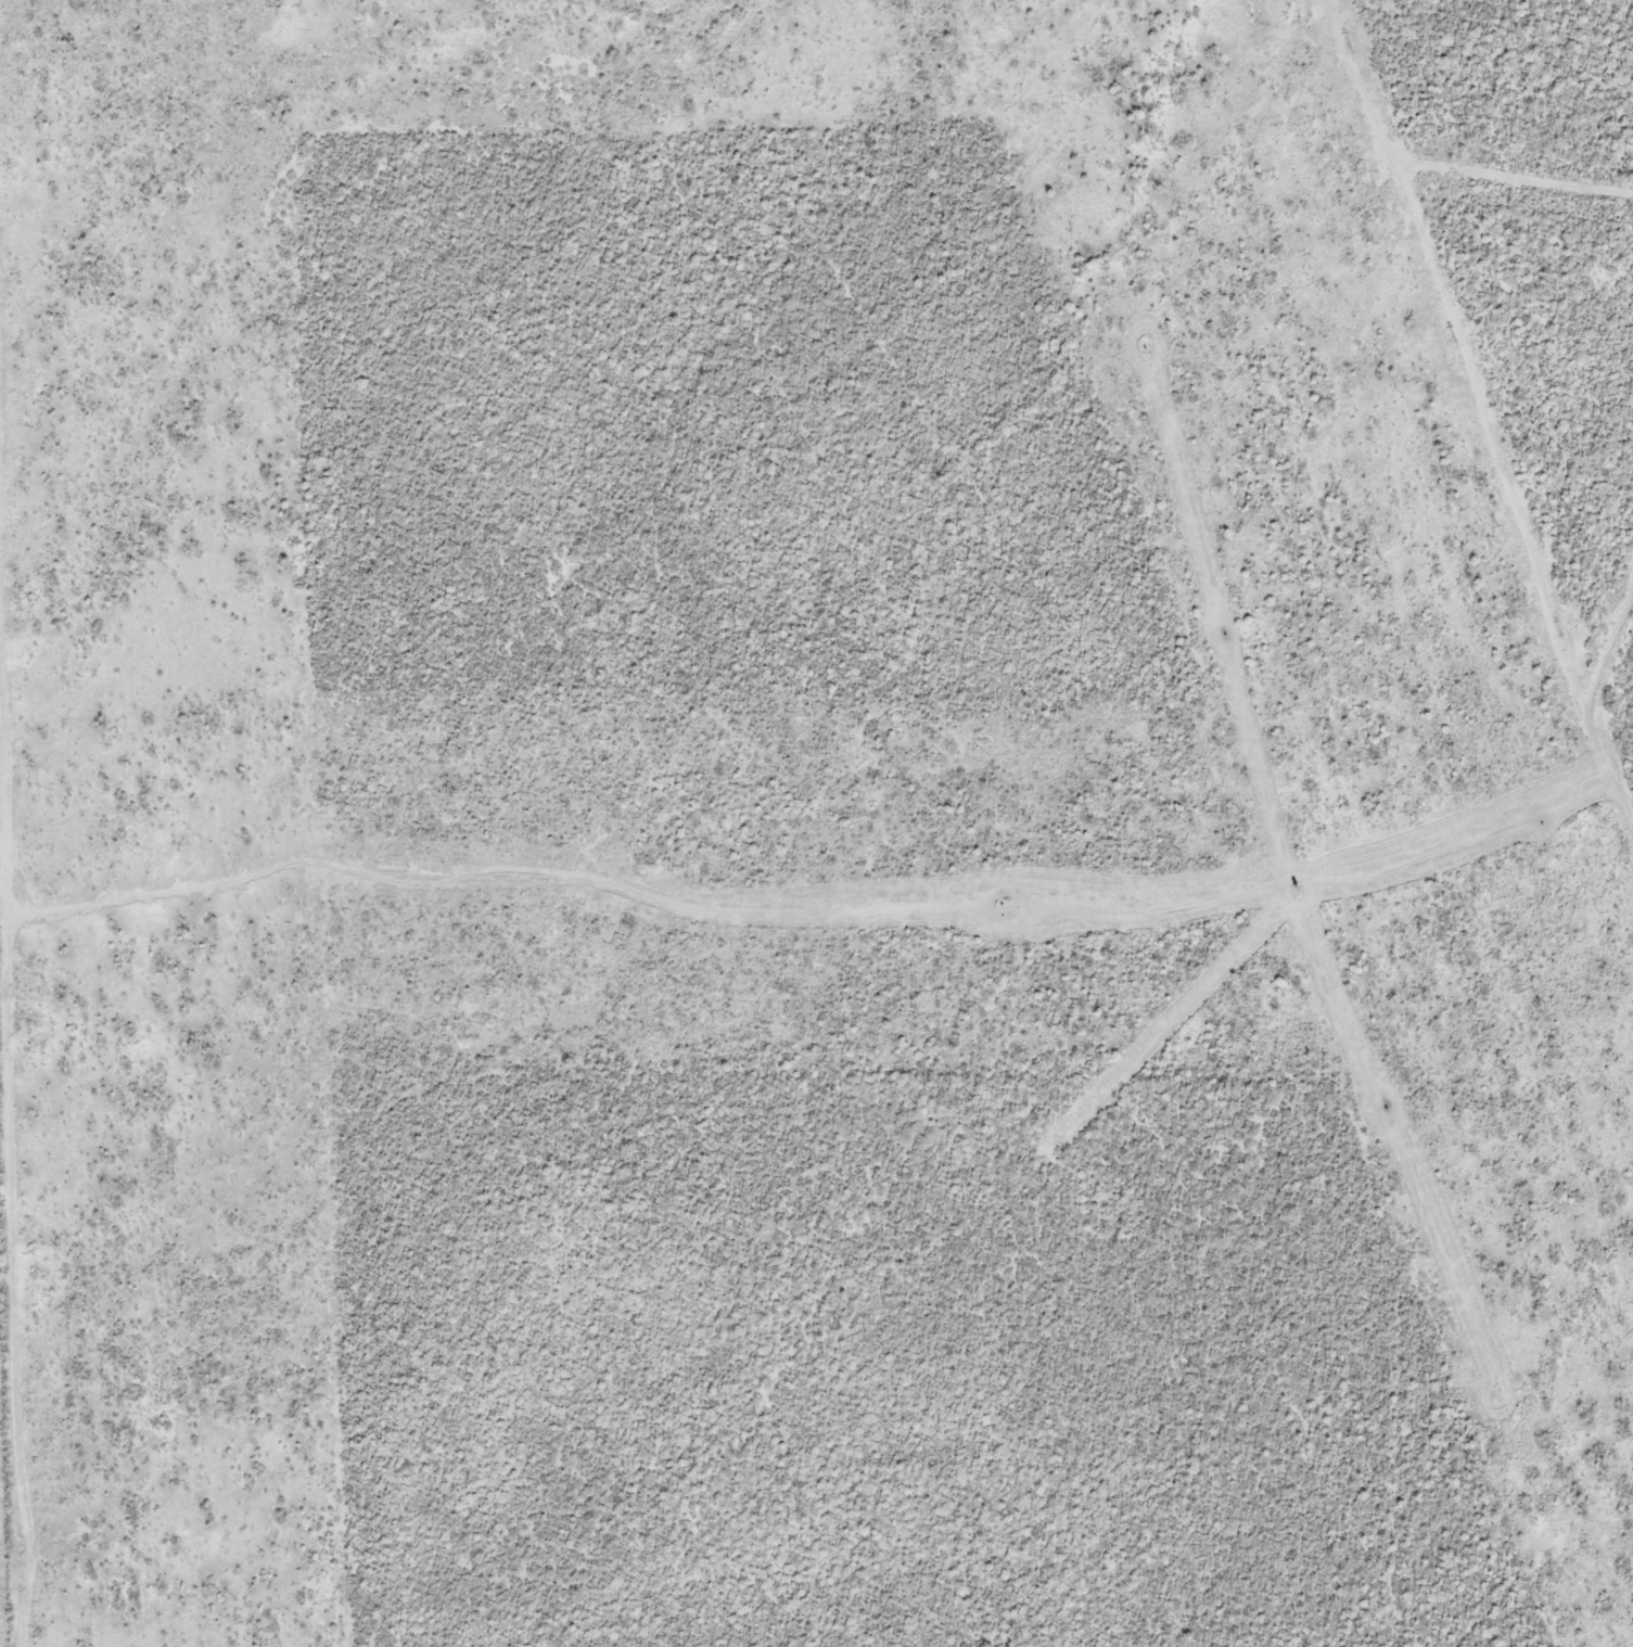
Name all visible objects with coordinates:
power tower: (1352, 51)
power tower: (1457, 345)
power tower: (1562, 638)

